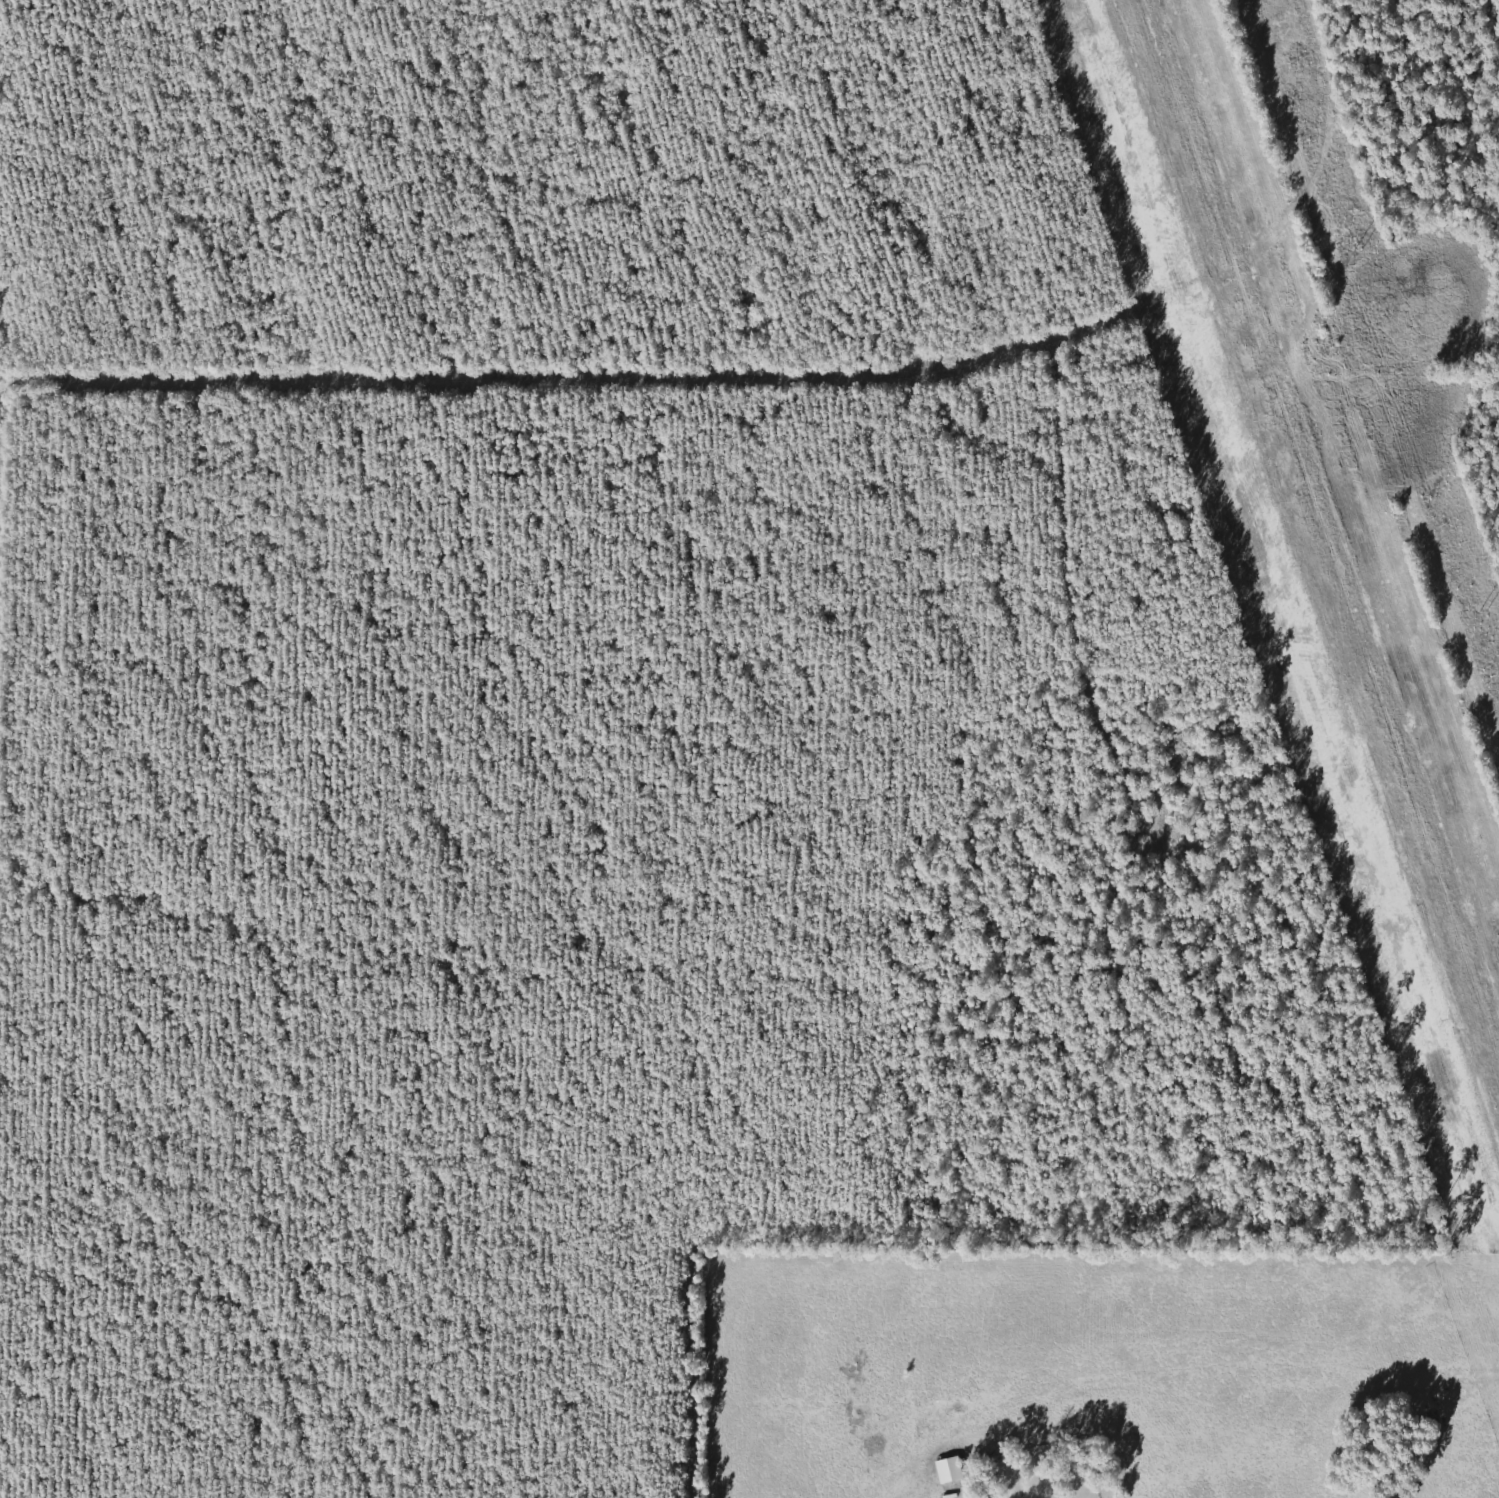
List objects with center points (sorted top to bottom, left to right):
power tower: (1358, 249)
road: (780, 369)
road: (1, 449)
power tower: (1484, 612)

